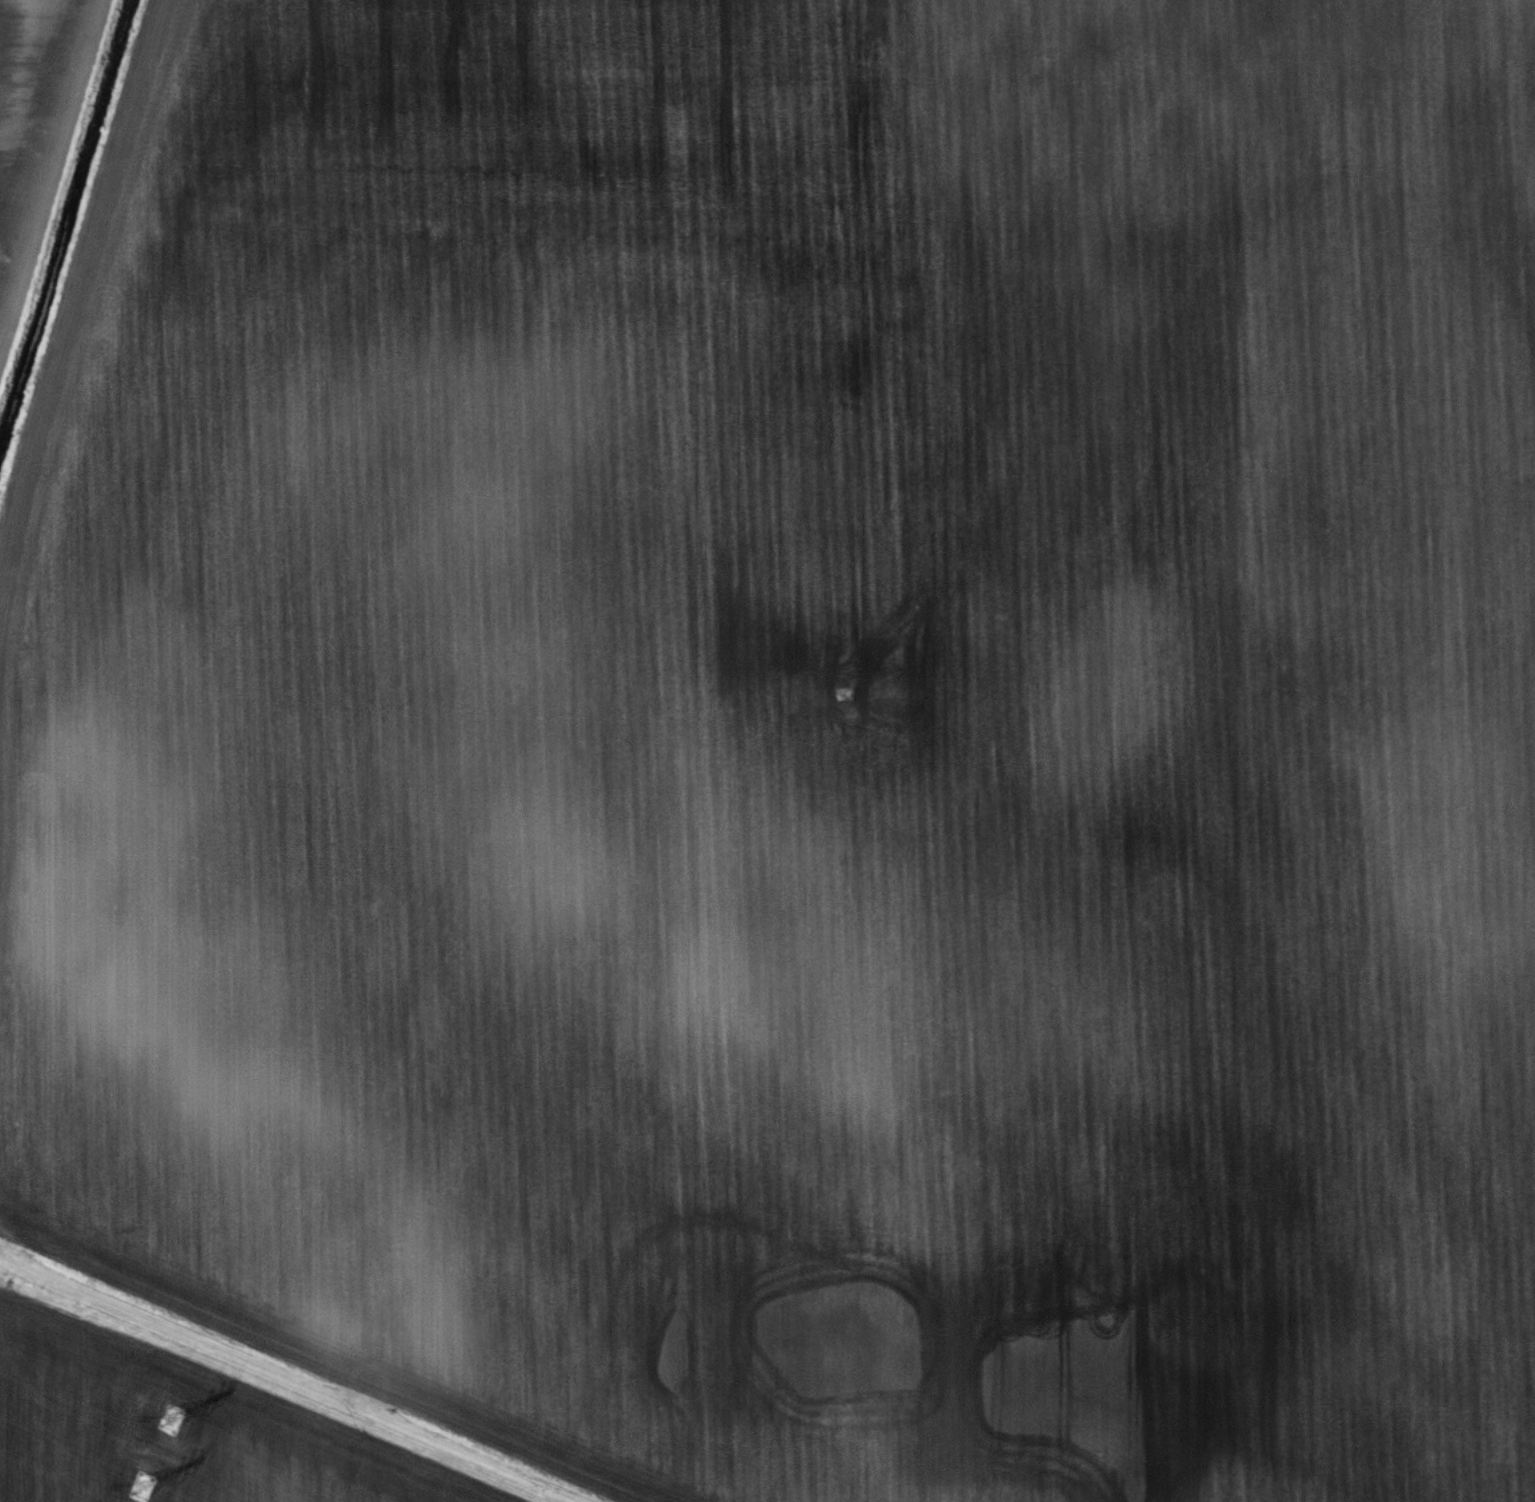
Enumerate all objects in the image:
power tower: (170, 1420)
power tower: (142, 1486)

